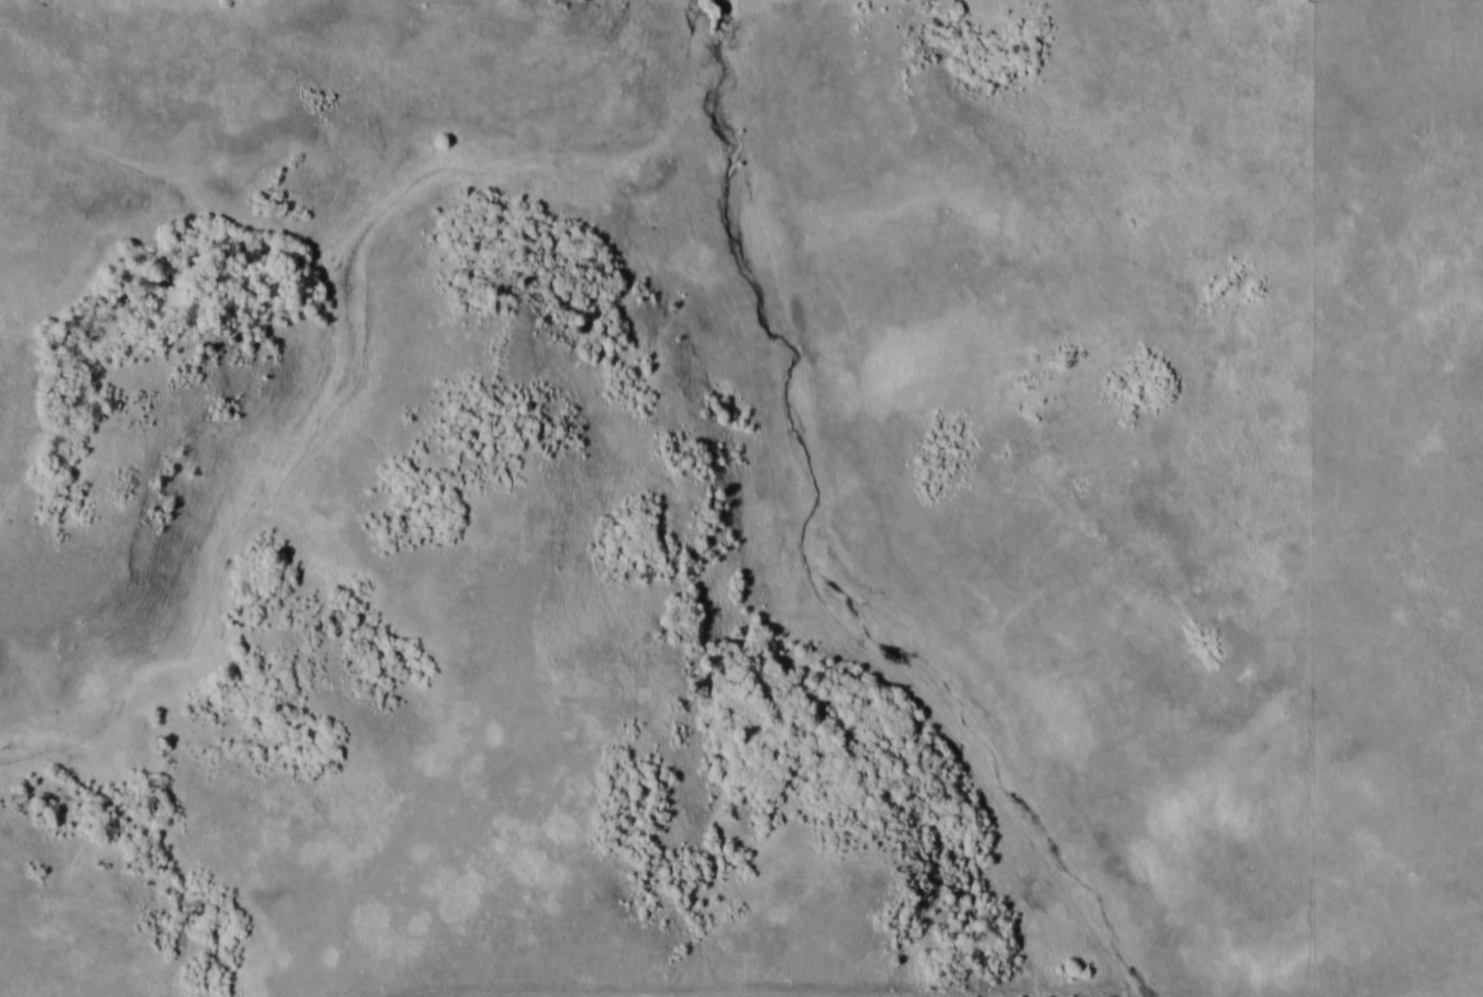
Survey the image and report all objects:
road: (701, 1)
road: (789, 987)

